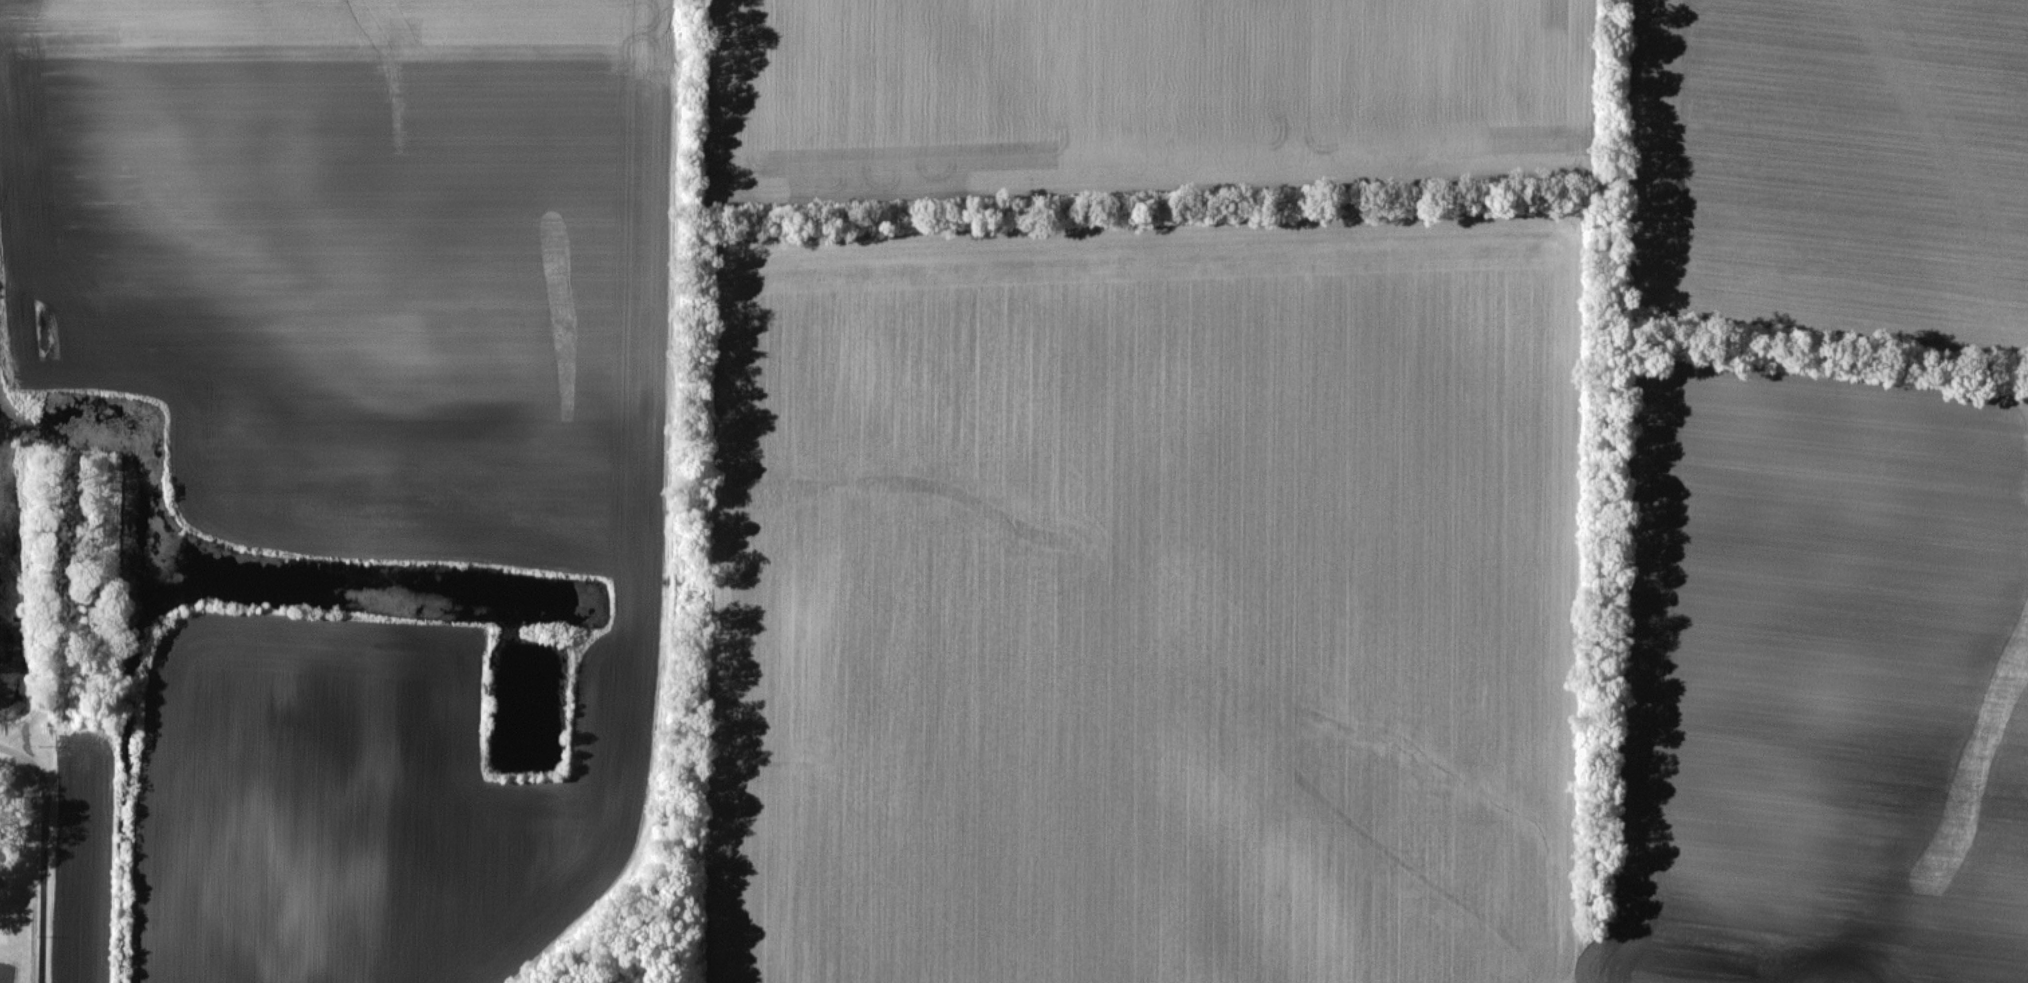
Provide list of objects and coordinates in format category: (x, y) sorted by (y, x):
road: (52, 848)

